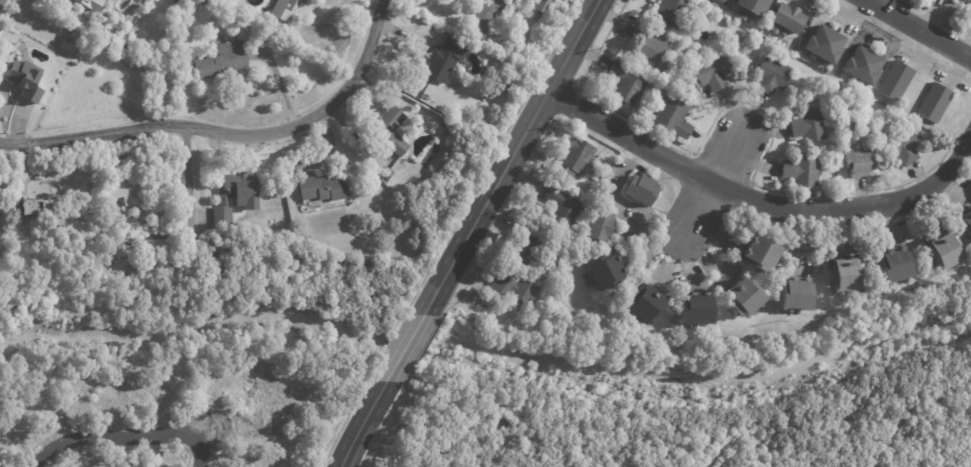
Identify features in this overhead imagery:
building: (962, 0)
building: (179, 1)
building: (200, 1)
building: (720, 1)
building: (726, 1)
building: (87, 4)
building: (543, 5)
building: (280, 8)
building: (751, 8)
building: (672, 12)
building: (488, 17)
building: (788, 19)
road: (918, 29)
building: (90, 42)
building: (828, 44)
building: (61, 46)
building: (650, 46)
building: (75, 53)
building: (440, 58)
building: (216, 59)
building: (75, 64)
building: (867, 65)
building: (714, 72)
building: (776, 75)
building: (23, 78)
building: (510, 82)
building: (896, 82)
building: (627, 84)
road: (748, 103)
road: (567, 104)
building: (935, 104)
building: (675, 116)
building: (811, 125)
building: (393, 130)
road: (227, 134)
building: (903, 147)
road: (728, 153)
road: (491, 155)
road: (510, 156)
building: (571, 160)
building: (861, 165)
road: (720, 169)
building: (805, 171)
road: (187, 183)
building: (130, 189)
building: (323, 189)
building: (639, 190)
building: (236, 197)
road: (761, 204)
building: (37, 209)
building: (559, 211)
road: (696, 213)
road: (503, 219)
building: (966, 224)
building: (597, 225)
building: (163, 247)
building: (521, 251)
building: (939, 251)
building: (755, 252)
building: (225, 265)
building: (890, 265)
building: (597, 271)
building: (840, 274)
building: (510, 289)
building: (790, 293)
building: (740, 296)
building: (640, 303)
building: (693, 309)
road: (385, 347)
road: (404, 347)
road: (422, 348)
road: (153, 423)
road: (342, 423)
road: (362, 423)
road: (380, 424)
road: (112, 438)
road: (123, 449)
road: (201, 452)

